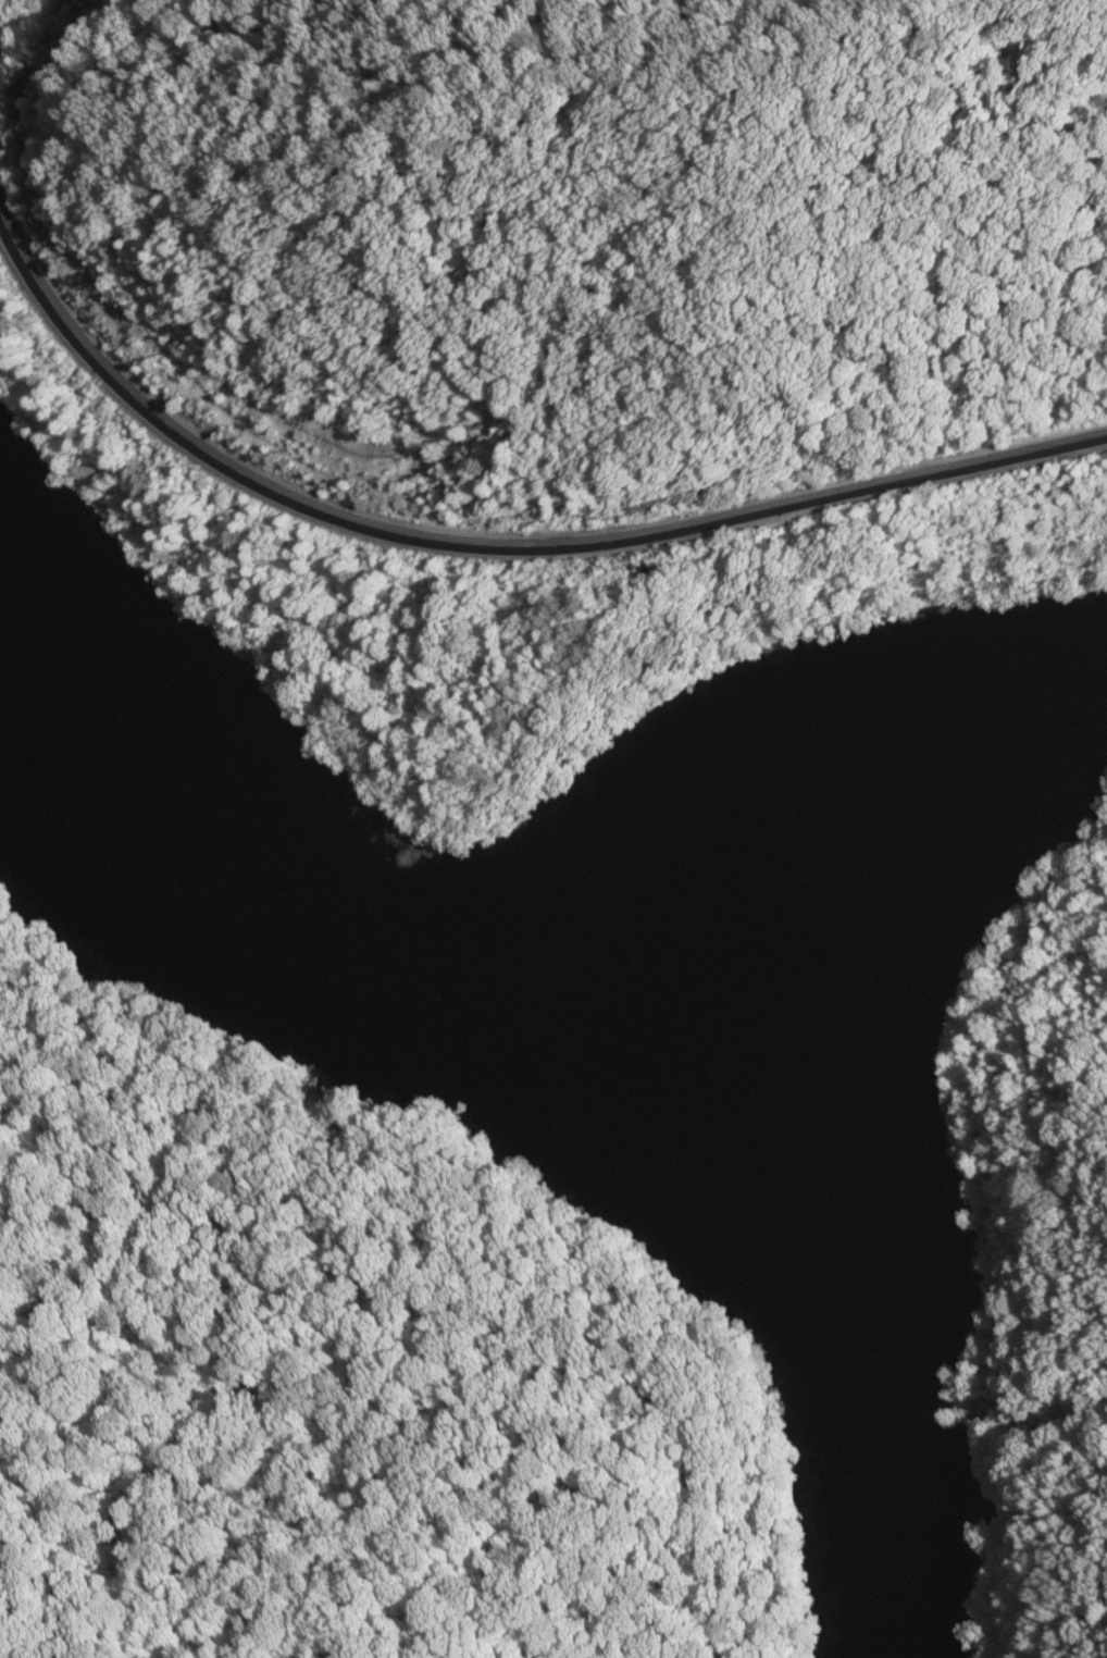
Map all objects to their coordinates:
road: (39, 53)
road: (496, 544)
river: (502, 942)
road: (1009, 1243)

